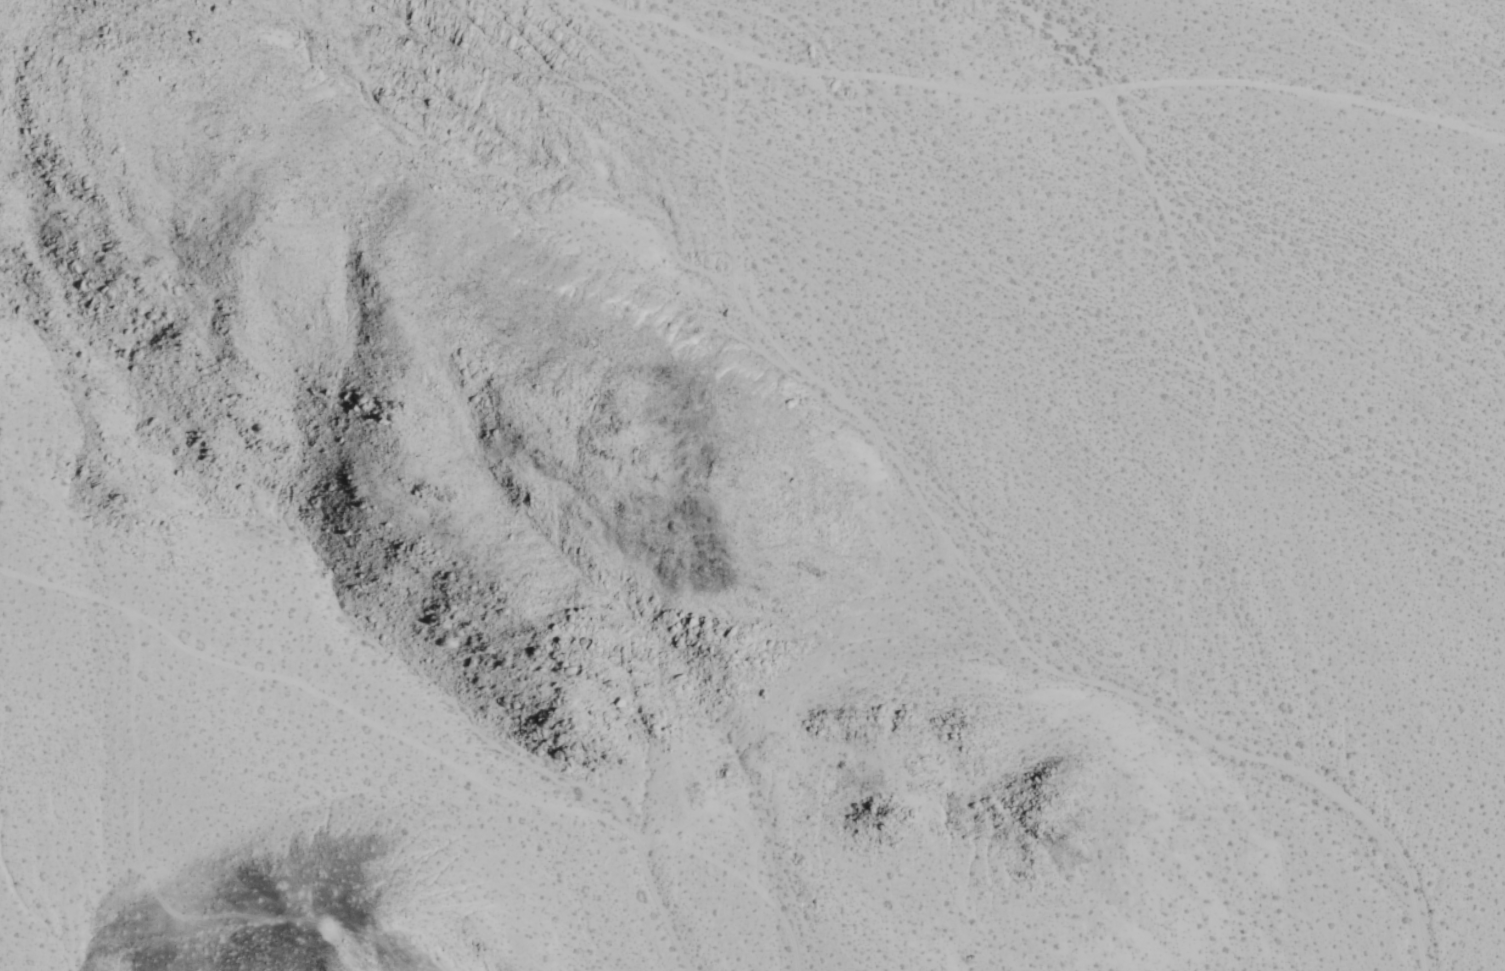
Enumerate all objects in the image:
road: (1062, 82)

